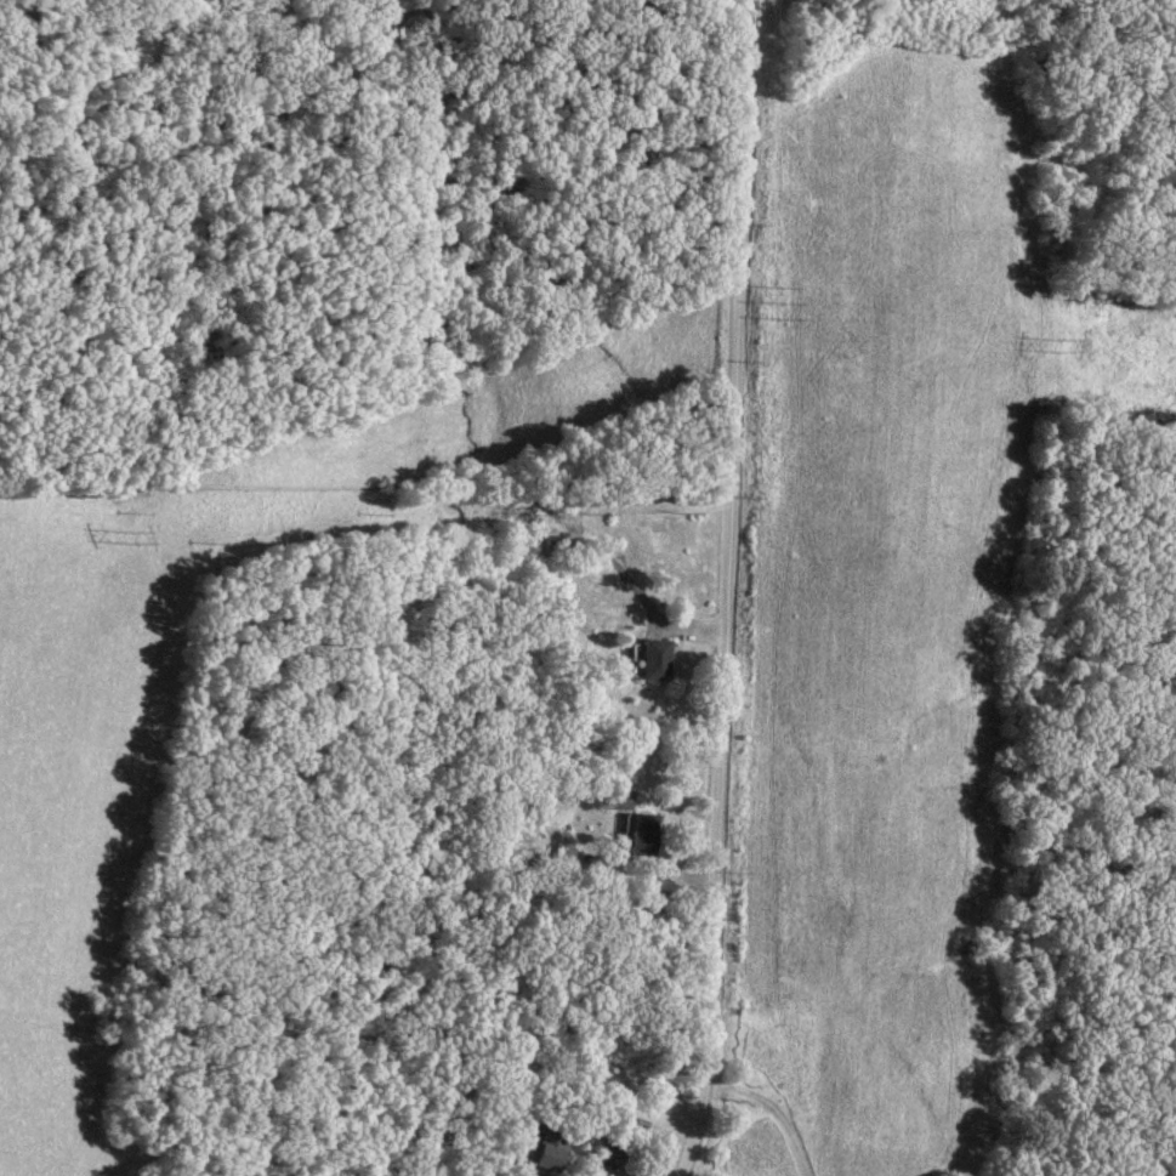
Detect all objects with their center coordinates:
power tower: (784, 285)
power tower: (785, 303)
power tower: (785, 320)
power tower: (1061, 340)
power tower: (132, 532)
road: (728, 590)
building: (646, 659)
building: (641, 835)
road: (774, 1110)
building: (626, 1140)
building: (549, 1148)

